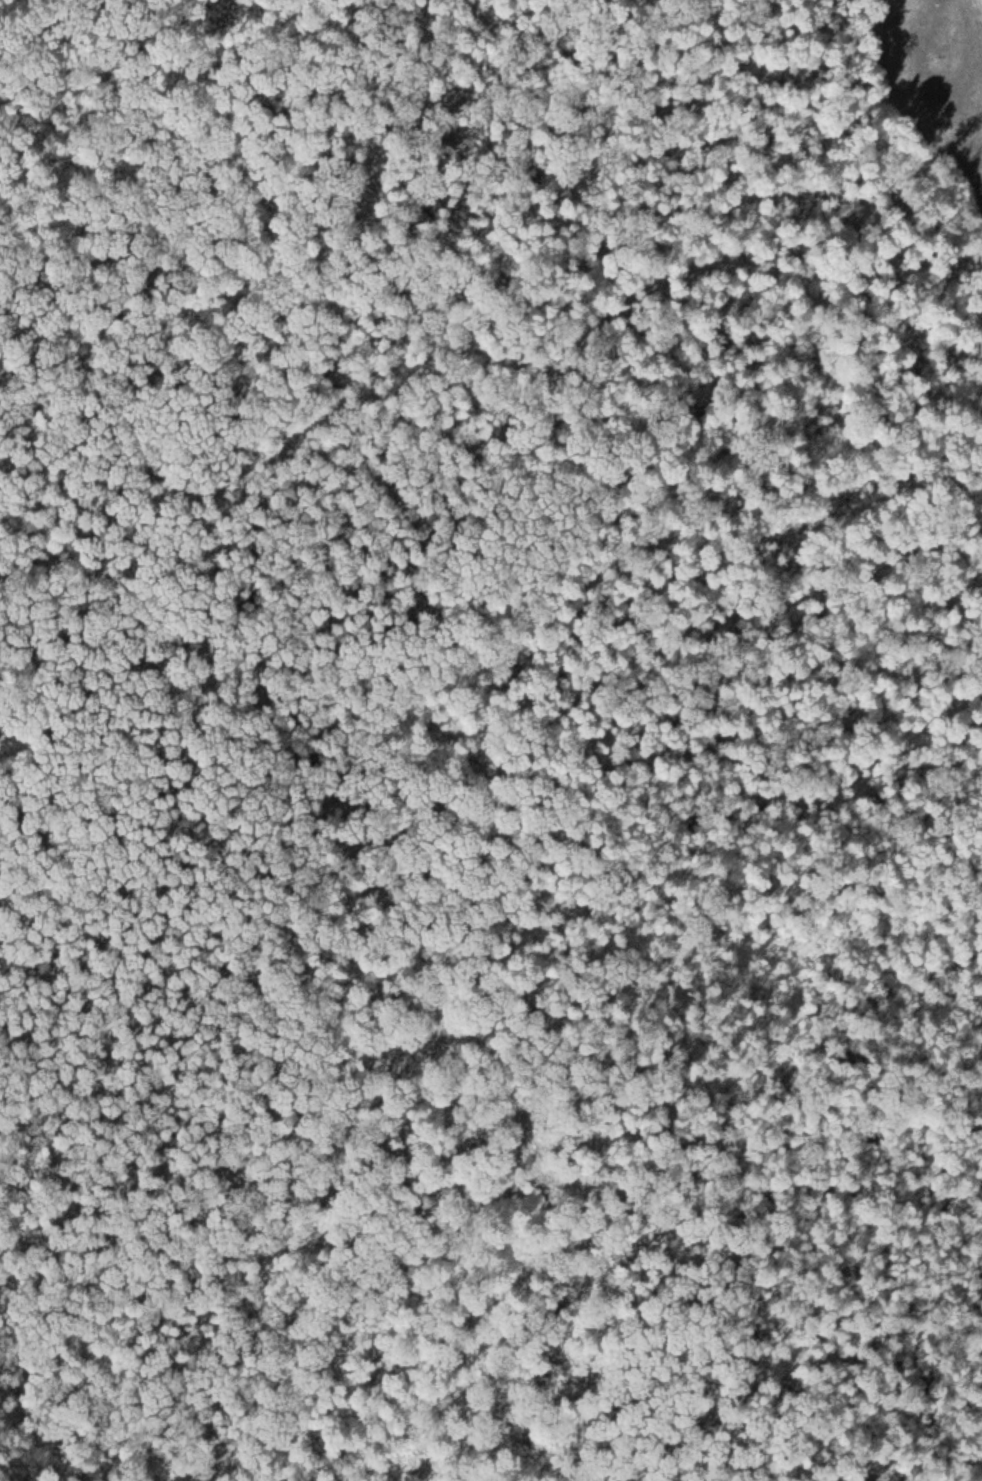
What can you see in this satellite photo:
road: (980, 4)

